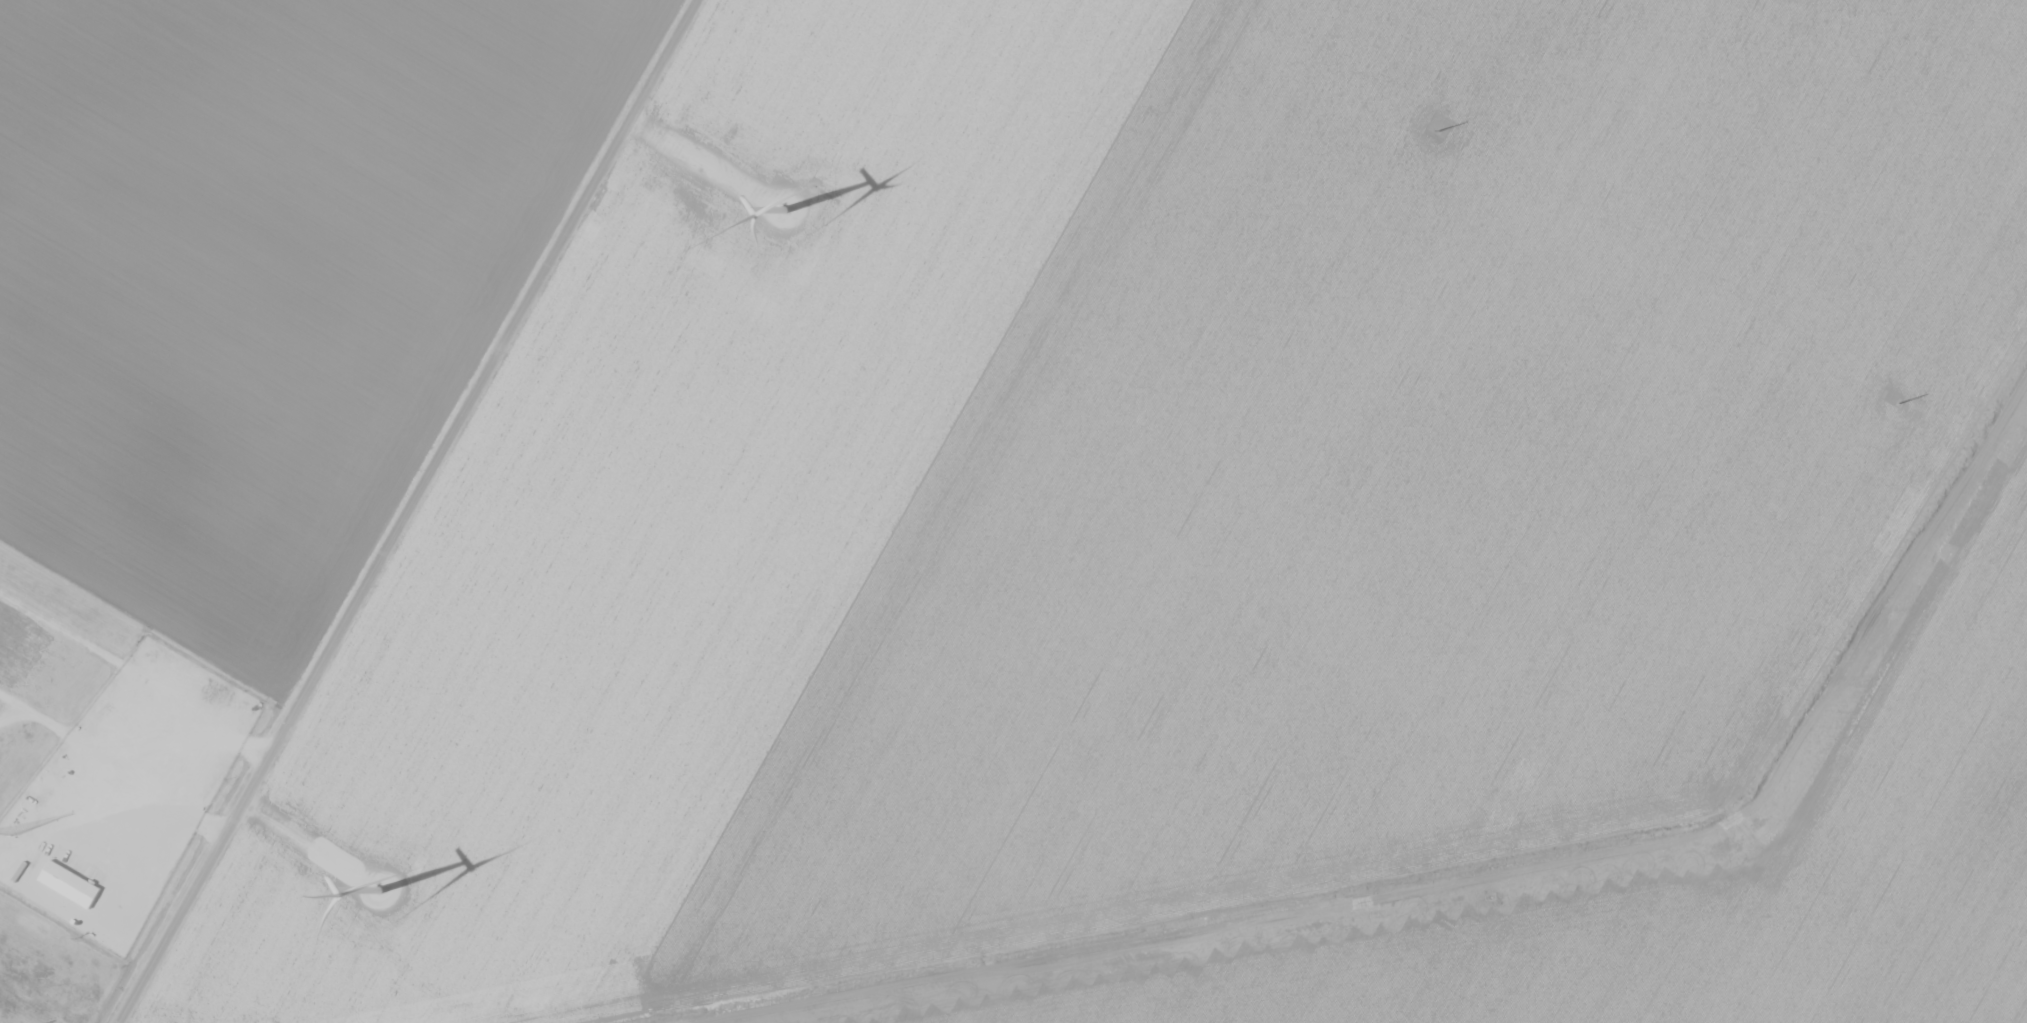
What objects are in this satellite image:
power tower: (1437, 129)
road: (698, 162)
wind turbine: (788, 209)
power tower: (1898, 401)
road: (410, 511)
road: (302, 846)
wind turbine: (380, 897)

